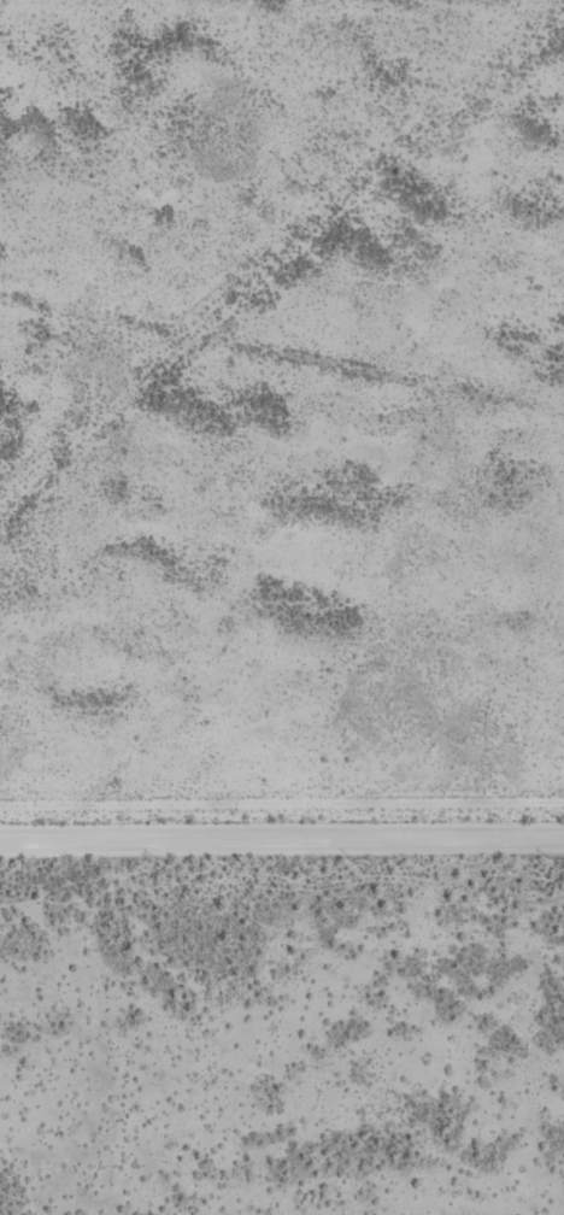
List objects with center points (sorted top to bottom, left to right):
road: (282, 786)

